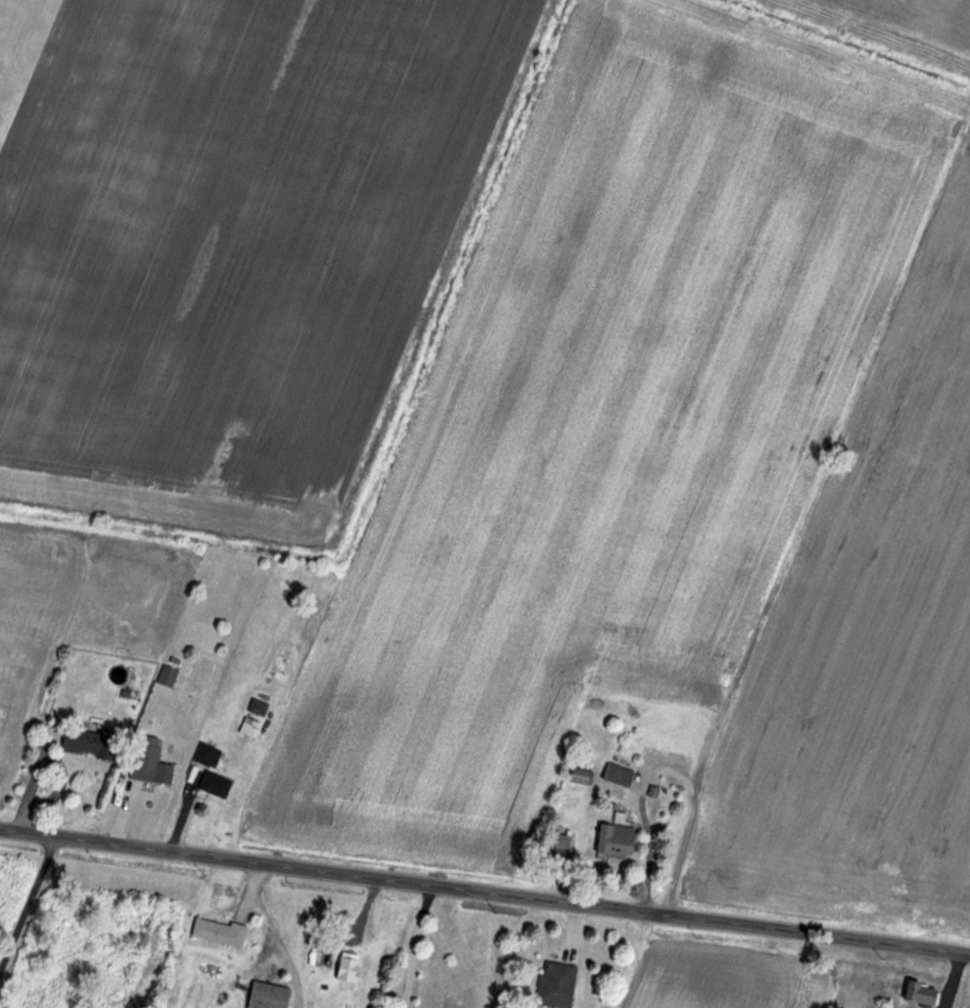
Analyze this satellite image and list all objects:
crop: (922, 17)
building: (166, 677)
building: (257, 708)
building: (249, 727)
building: (88, 743)
building: (207, 755)
building: (150, 772)
building: (580, 774)
building: (617, 774)
road: (667, 779)
building: (214, 784)
building: (614, 840)
building: (563, 845)
road: (484, 896)
road: (28, 904)
building: (218, 932)
road: (412, 947)
building: (346, 967)
crop: (725, 981)
building: (555, 985)
building: (921, 994)
building: (267, 996)

